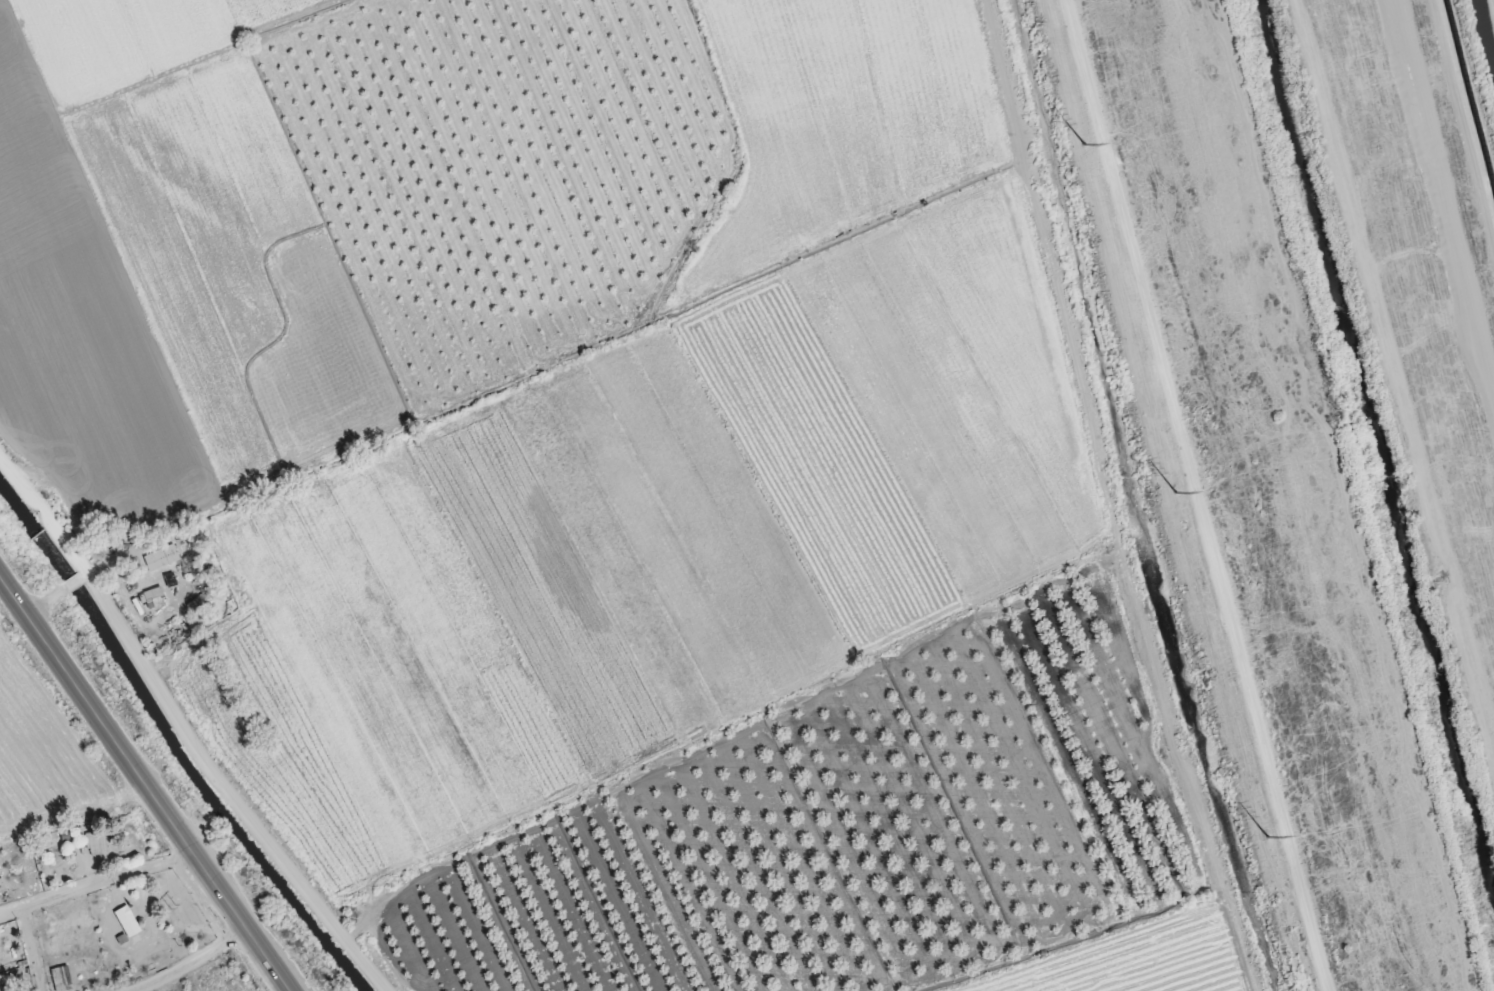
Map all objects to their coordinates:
road: (1458, 137)
power tower: (1079, 144)
river: (1372, 462)
power tower: (1170, 494)
power tower: (1260, 839)

